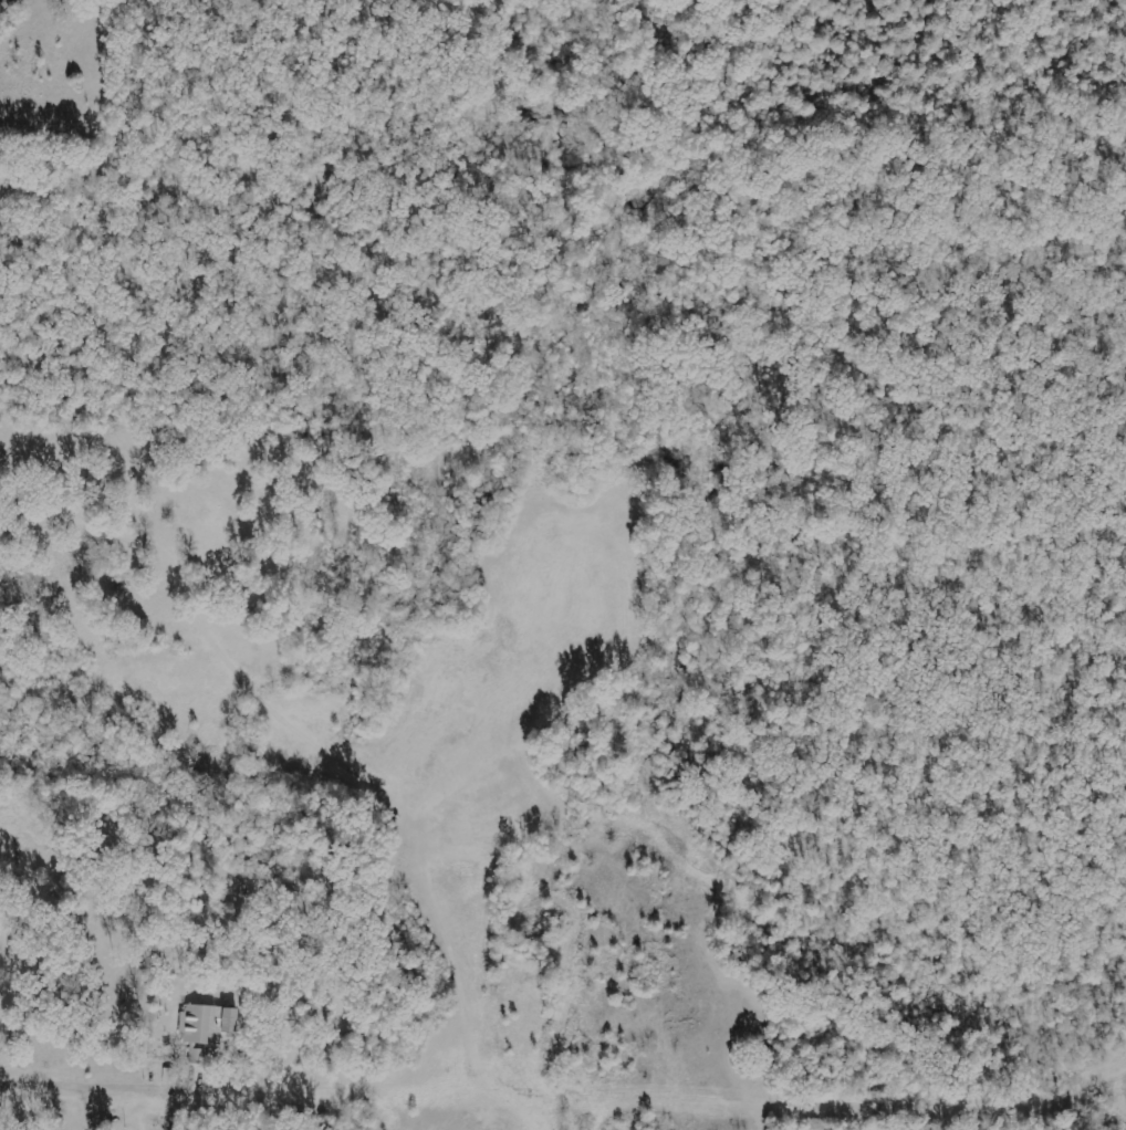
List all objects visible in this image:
park: (699, 414)
building: (206, 1028)

